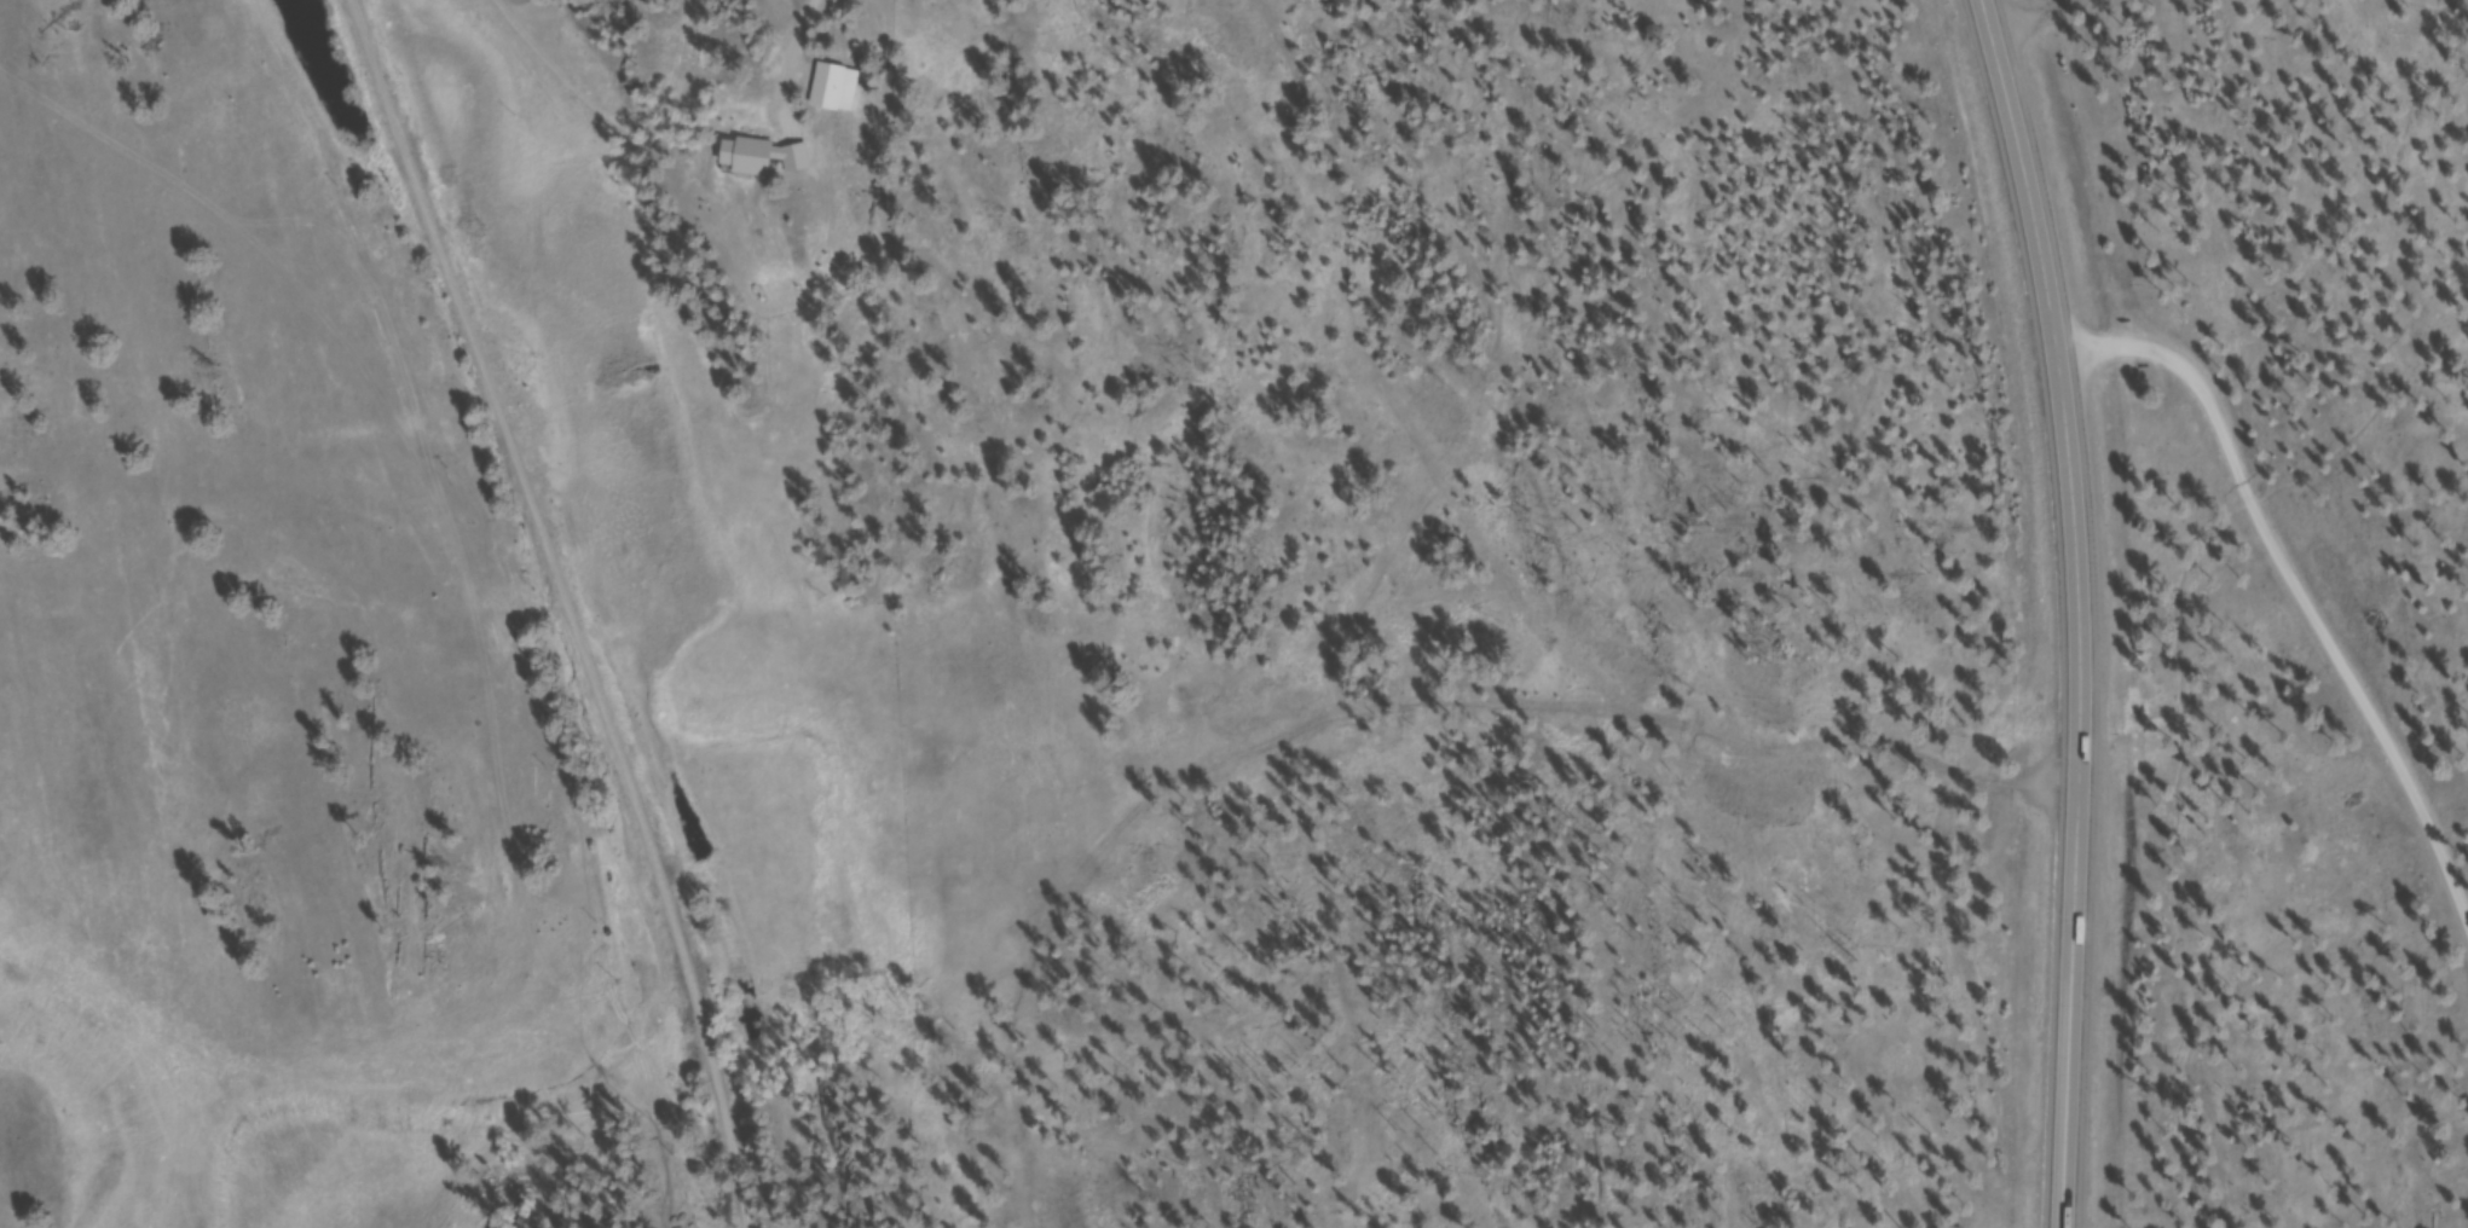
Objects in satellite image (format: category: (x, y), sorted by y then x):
road: (809, 15)
building: (767, 158)
road: (2293, 589)
road: (2076, 609)
road: (576, 610)

